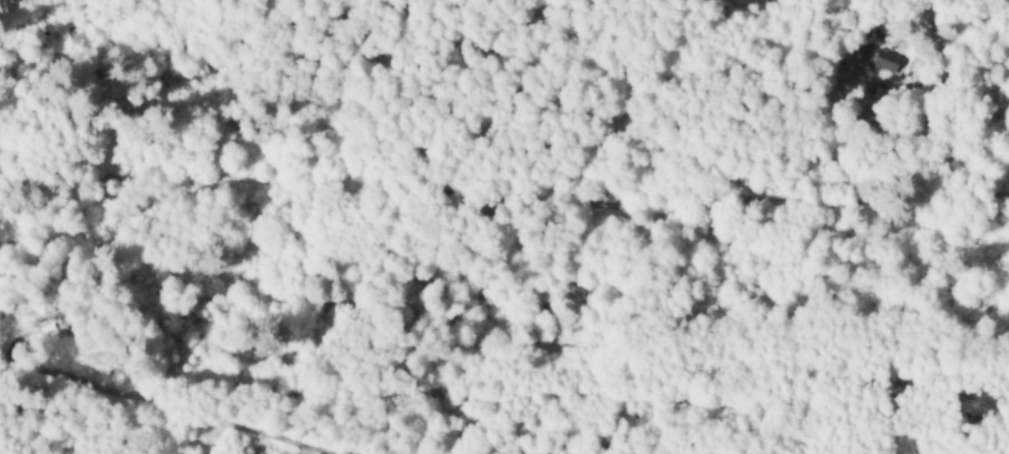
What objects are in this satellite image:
road: (743, 13)
building: (887, 60)
road: (515, 194)
road: (167, 404)

